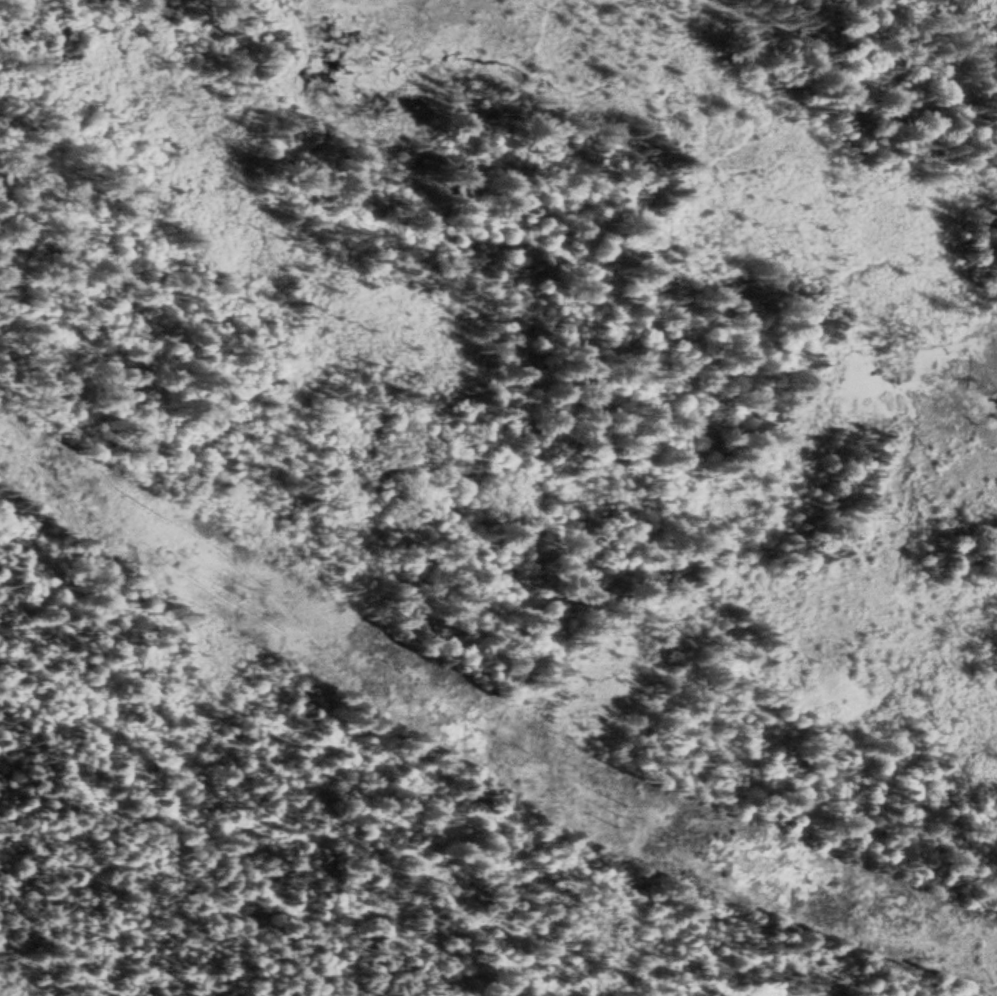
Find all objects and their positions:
power tower: (730, 868)

